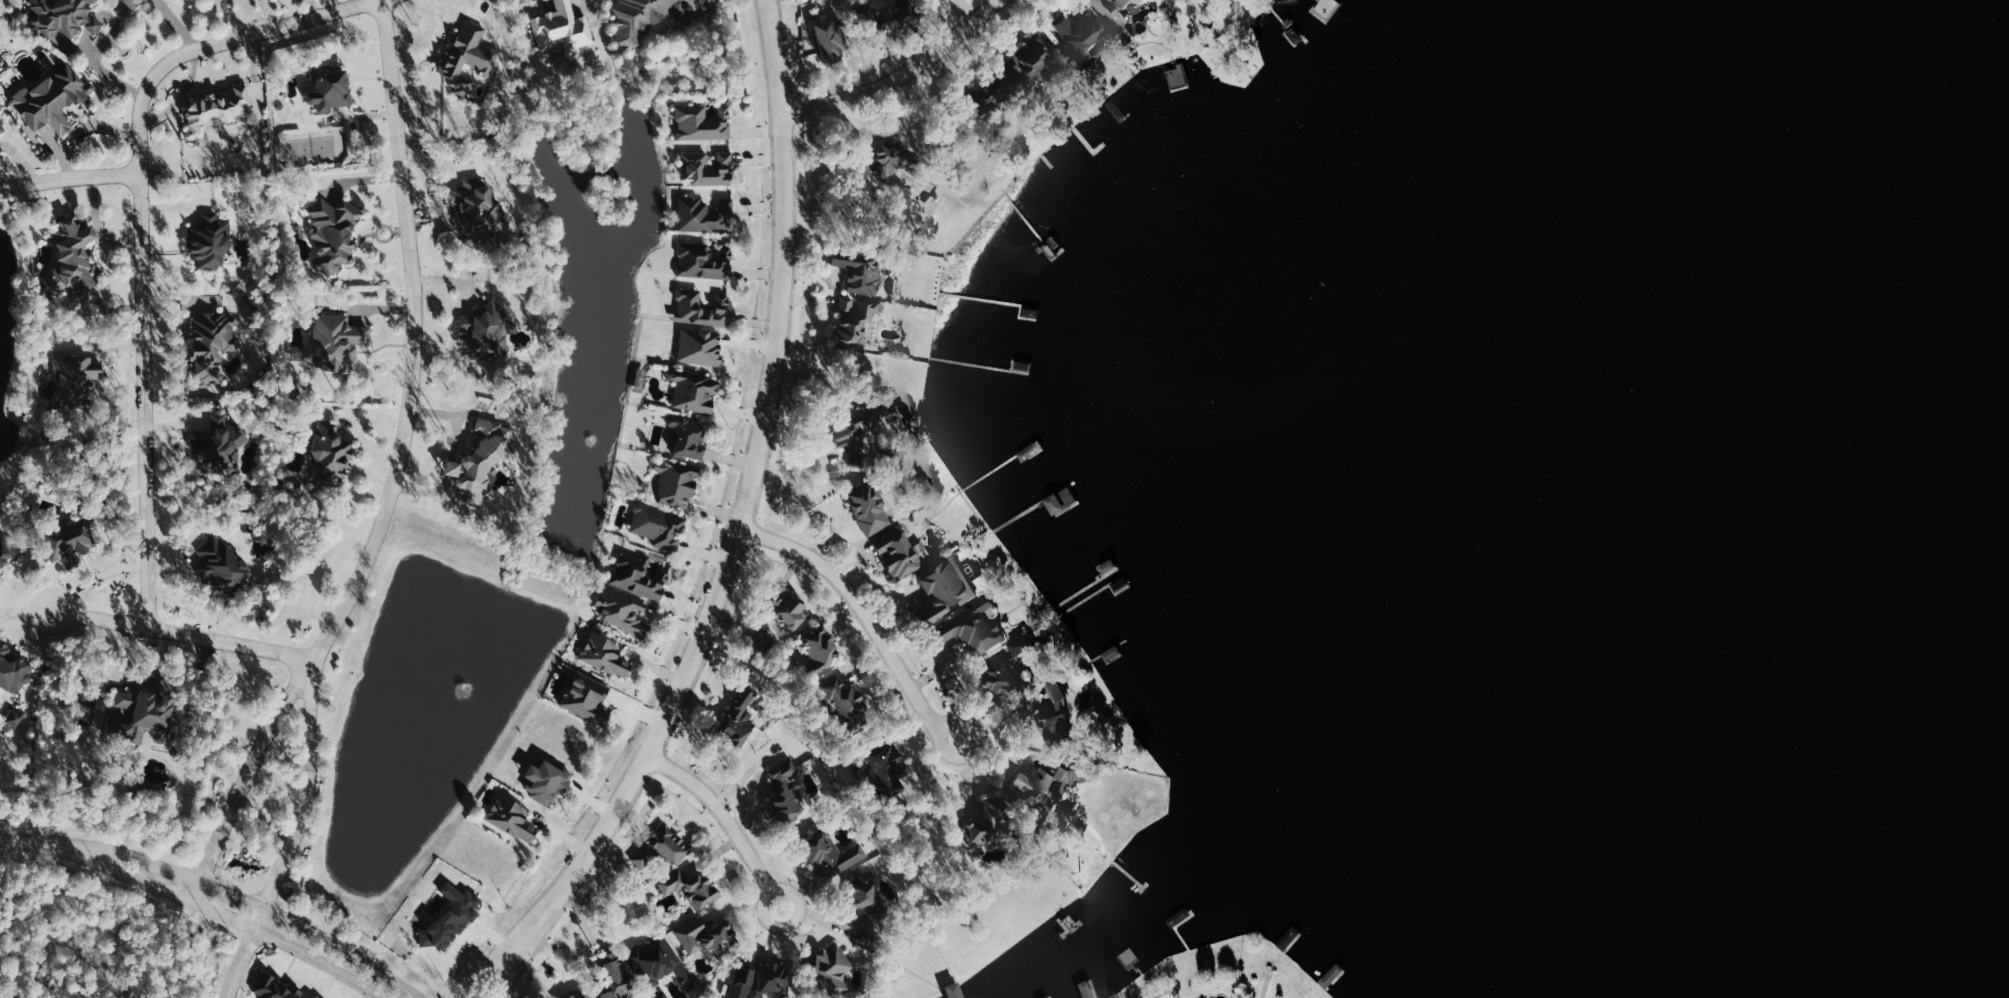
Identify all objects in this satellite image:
building: (946, 0)
building: (1093, 0)
building: (133, 3)
road: (317, 7)
building: (899, 12)
road: (268, 14)
building: (1122, 14)
building: (654, 16)
building: (63, 17)
road: (231, 18)
building: (563, 28)
building: (1081, 37)
building: (831, 40)
road: (433, 46)
building: (469, 53)
building: (1033, 59)
road: (905, 75)
building: (464, 85)
building: (331, 89)
building: (995, 90)
building: (52, 99)
building: (217, 110)
building: (703, 123)
building: (1, 127)
road: (86, 131)
building: (0, 151)
building: (891, 158)
building: (708, 168)
road: (69, 180)
building: (477, 207)
building: (706, 215)
road: (101, 226)
road: (141, 231)
building: (334, 233)
building: (211, 242)
building: (75, 254)
building: (704, 261)
building: (859, 298)
building: (701, 308)
building: (488, 330)
road: (414, 339)
building: (334, 341)
building: (213, 346)
building: (700, 346)
building: (72, 378)
building: (694, 391)
building: (853, 435)
building: (688, 438)
building: (219, 446)
building: (330, 455)
building: (483, 459)
road: (798, 468)
building: (677, 484)
road: (748, 493)
building: (870, 510)
building: (659, 526)
building: (70, 542)
building: (7, 549)
building: (901, 554)
building: (222, 564)
building: (639, 576)
road: (96, 582)
building: (0, 585)
building: (947, 590)
road: (864, 601)
building: (790, 610)
building: (621, 611)
building: (974, 628)
road: (184, 634)
building: (1024, 645)
building: (819, 648)
building: (605, 655)
building: (13, 669)
building: (1005, 678)
building: (847, 703)
road: (282, 705)
building: (1060, 712)
building: (137, 714)
road: (310, 715)
building: (15, 716)
fountain: (441, 716)
building: (738, 717)
building: (884, 767)
road: (743, 775)
road: (280, 776)
building: (547, 781)
building: (1043, 785)
building: (786, 792)
road: (726, 811)
building: (512, 818)
building: (989, 826)
road: (222, 829)
road: (39, 841)
road: (291, 841)
building: (663, 849)
building: (833, 853)
building: (691, 887)
road: (609, 897)
building: (867, 901)
road: (256, 906)
building: (452, 917)
road: (230, 919)
building: (707, 936)
road: (244, 953)
road: (491, 962)
building: (659, 962)
road: (512, 967)
building: (831, 970)
building: (615, 977)
building: (276, 988)
building: (955, 991)
building: (576, 994)
building: (667, 997)
building: (1050, 997)

